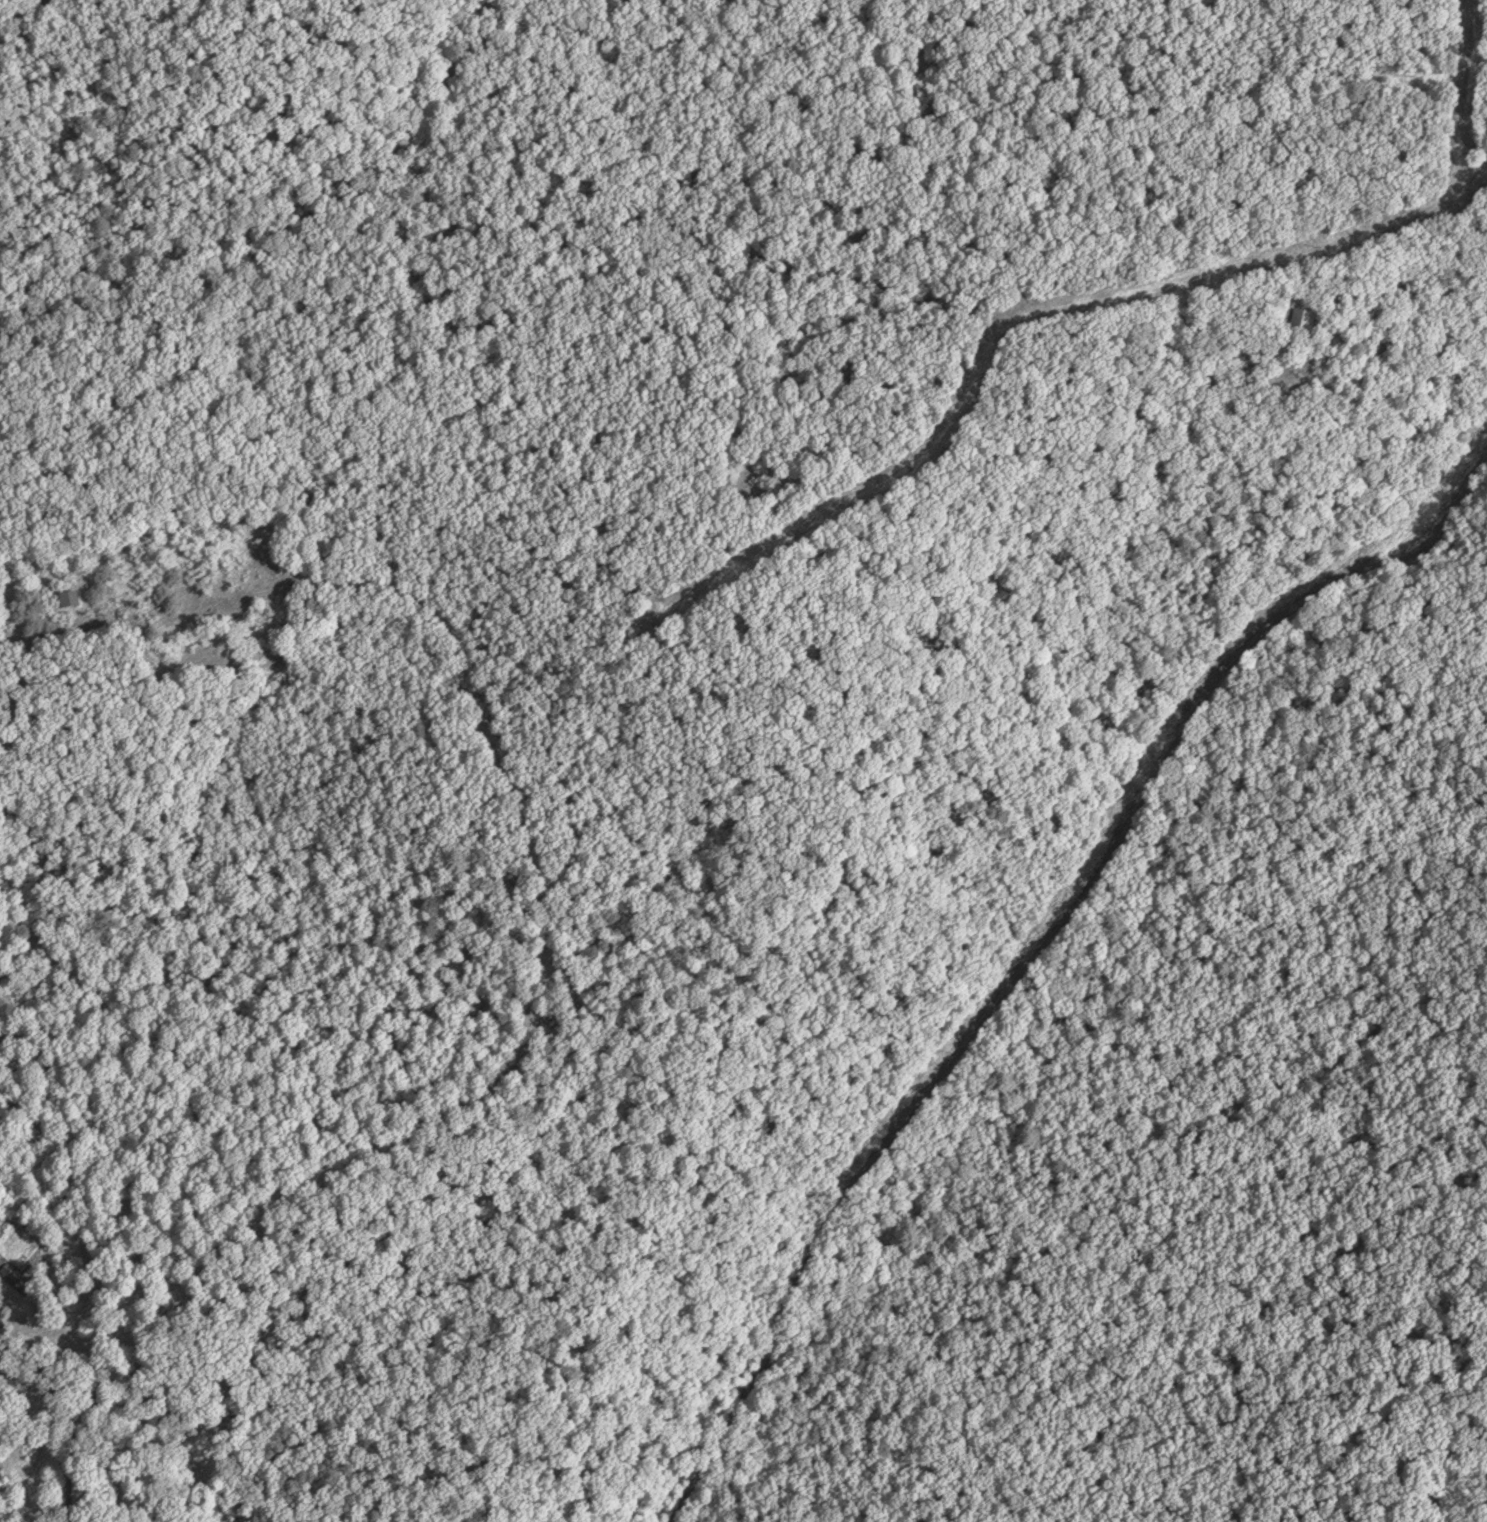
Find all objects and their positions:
road: (1460, 84)
road: (1400, 226)
road: (962, 396)
road: (612, 761)
road: (1038, 949)
road: (552, 978)
road: (7, 1339)
road: (6, 1354)
road: (72, 1427)

